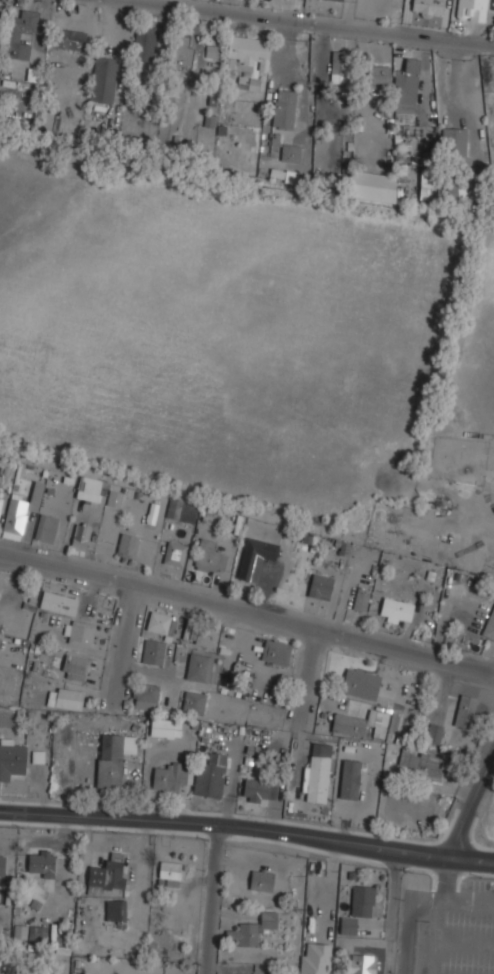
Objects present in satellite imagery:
building: (337, 0)
building: (428, 6)
building: (1, 9)
building: (472, 10)
road: (311, 21)
building: (21, 33)
building: (146, 41)
building: (249, 50)
building: (183, 51)
building: (211, 51)
building: (342, 66)
building: (379, 73)
building: (104, 79)
building: (249, 82)
building: (407, 87)
building: (284, 108)
building: (211, 120)
building: (456, 141)
building: (290, 152)
building: (428, 184)
building: (372, 186)
building: (457, 192)
crop: (222, 323)
crop: (475, 374)
building: (92, 489)
building: (115, 498)
building: (1, 503)
building: (182, 509)
building: (20, 511)
building: (46, 527)
building: (82, 535)
building: (128, 545)
building: (175, 553)
building: (210, 556)
building: (256, 557)
building: (1, 579)
building: (321, 586)
building: (362, 599)
building: (59, 602)
road: (247, 607)
building: (396, 609)
building: (160, 622)
building: (490, 626)
building: (79, 632)
building: (204, 635)
road: (126, 640)
building: (153, 651)
building: (276, 652)
building: (75, 666)
road: (311, 666)
building: (200, 667)
building: (361, 683)
building: (146, 695)
building: (66, 697)
building: (194, 701)
building: (466, 710)
building: (378, 722)
building: (349, 723)
building: (166, 727)
building: (434, 733)
building: (11, 758)
building: (113, 758)
building: (421, 763)
building: (318, 772)
building: (211, 775)
building: (171, 778)
building: (349, 780)
building: (257, 790)
road: (470, 806)
road: (224, 831)
road: (470, 860)
road: (470, 862)
building: (2, 863)
building: (42, 863)
building: (107, 873)
building: (170, 873)
building: (261, 880)
road: (470, 895)
road: (208, 901)
road: (414, 906)
building: (358, 908)
building: (116, 911)
road: (392, 914)
building: (253, 929)
building: (19, 931)
parking lot: (457, 931)
building: (37, 932)
road: (434, 934)
road: (464, 943)
building: (309, 958)
building: (359, 965)
building: (0, 973)

